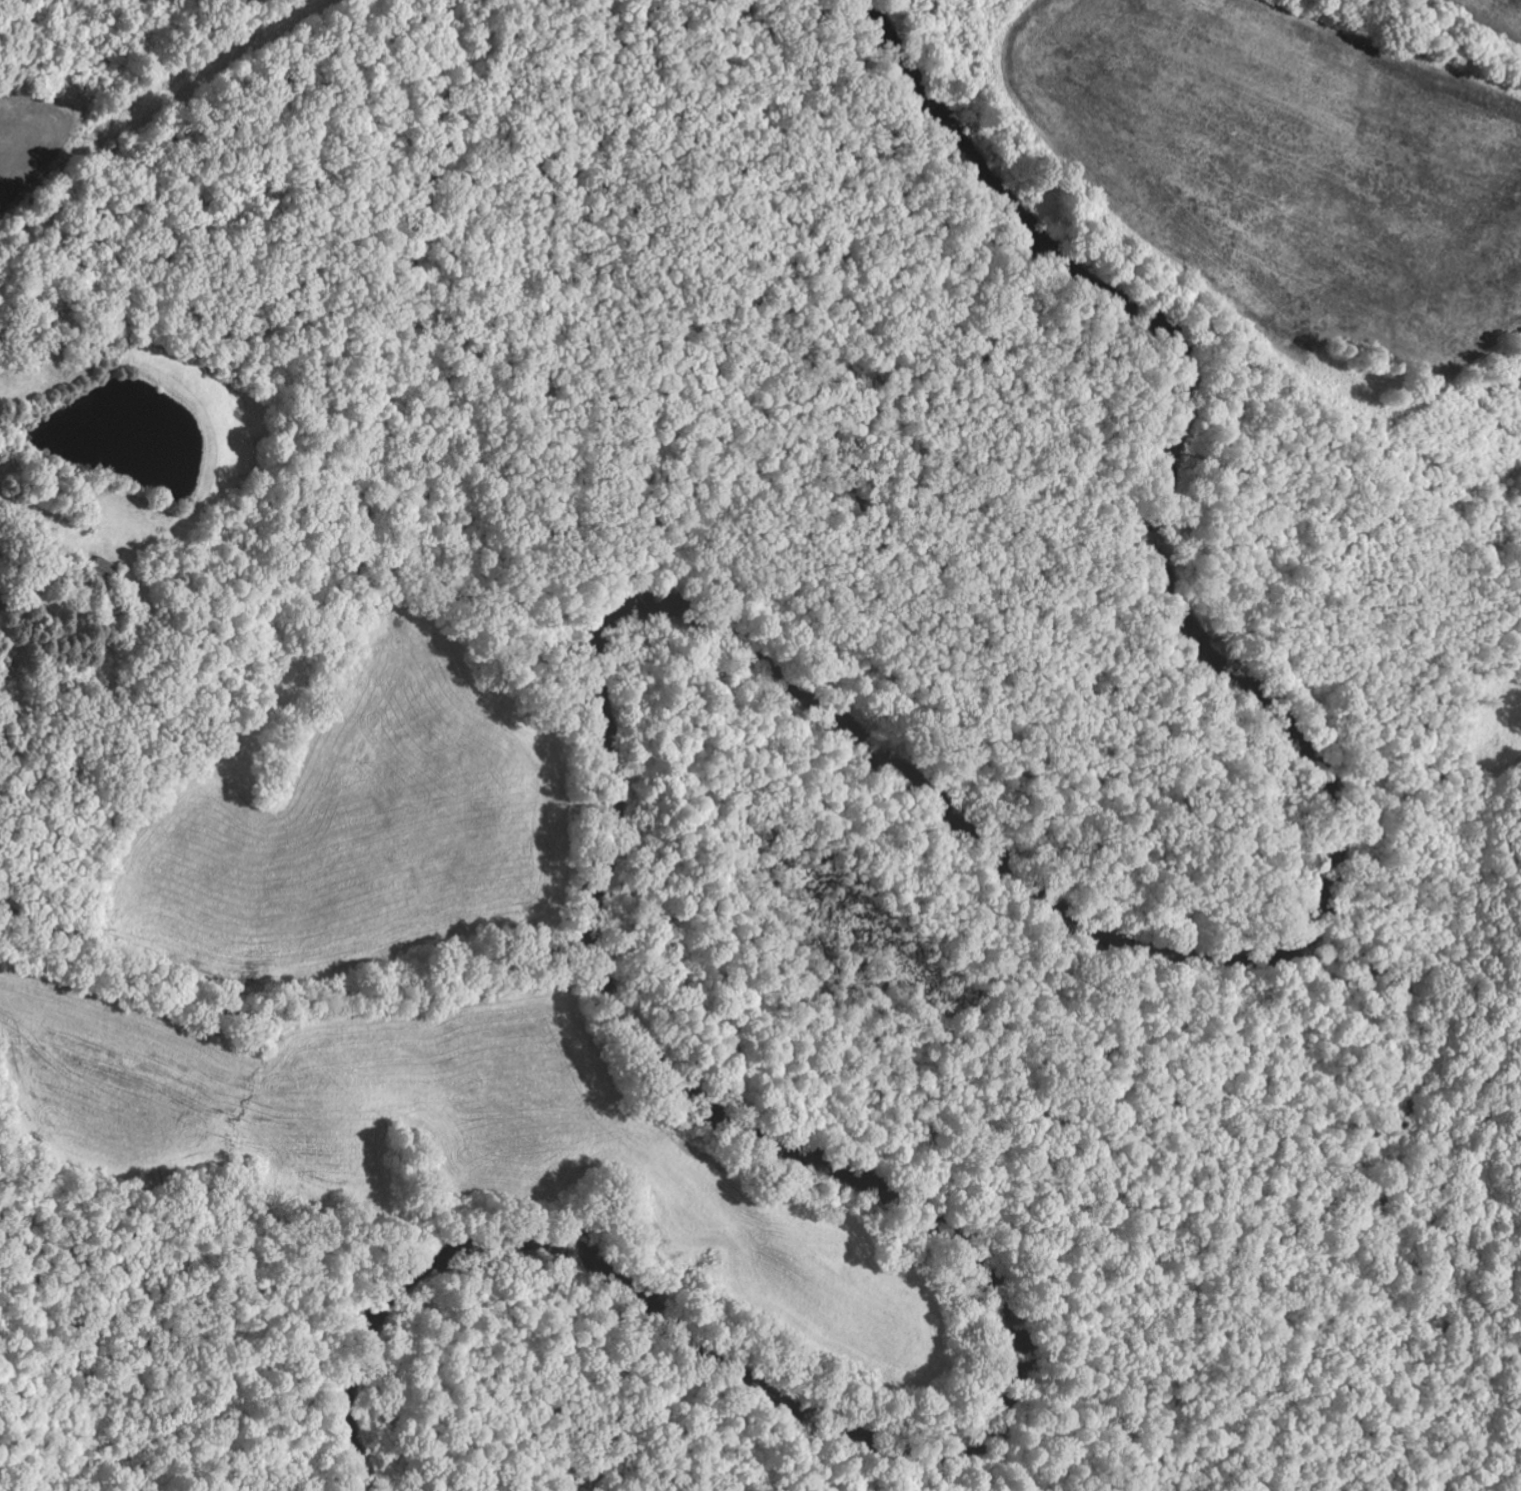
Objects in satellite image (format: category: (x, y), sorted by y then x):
crop: (103, 80)
river: (613, 616)

